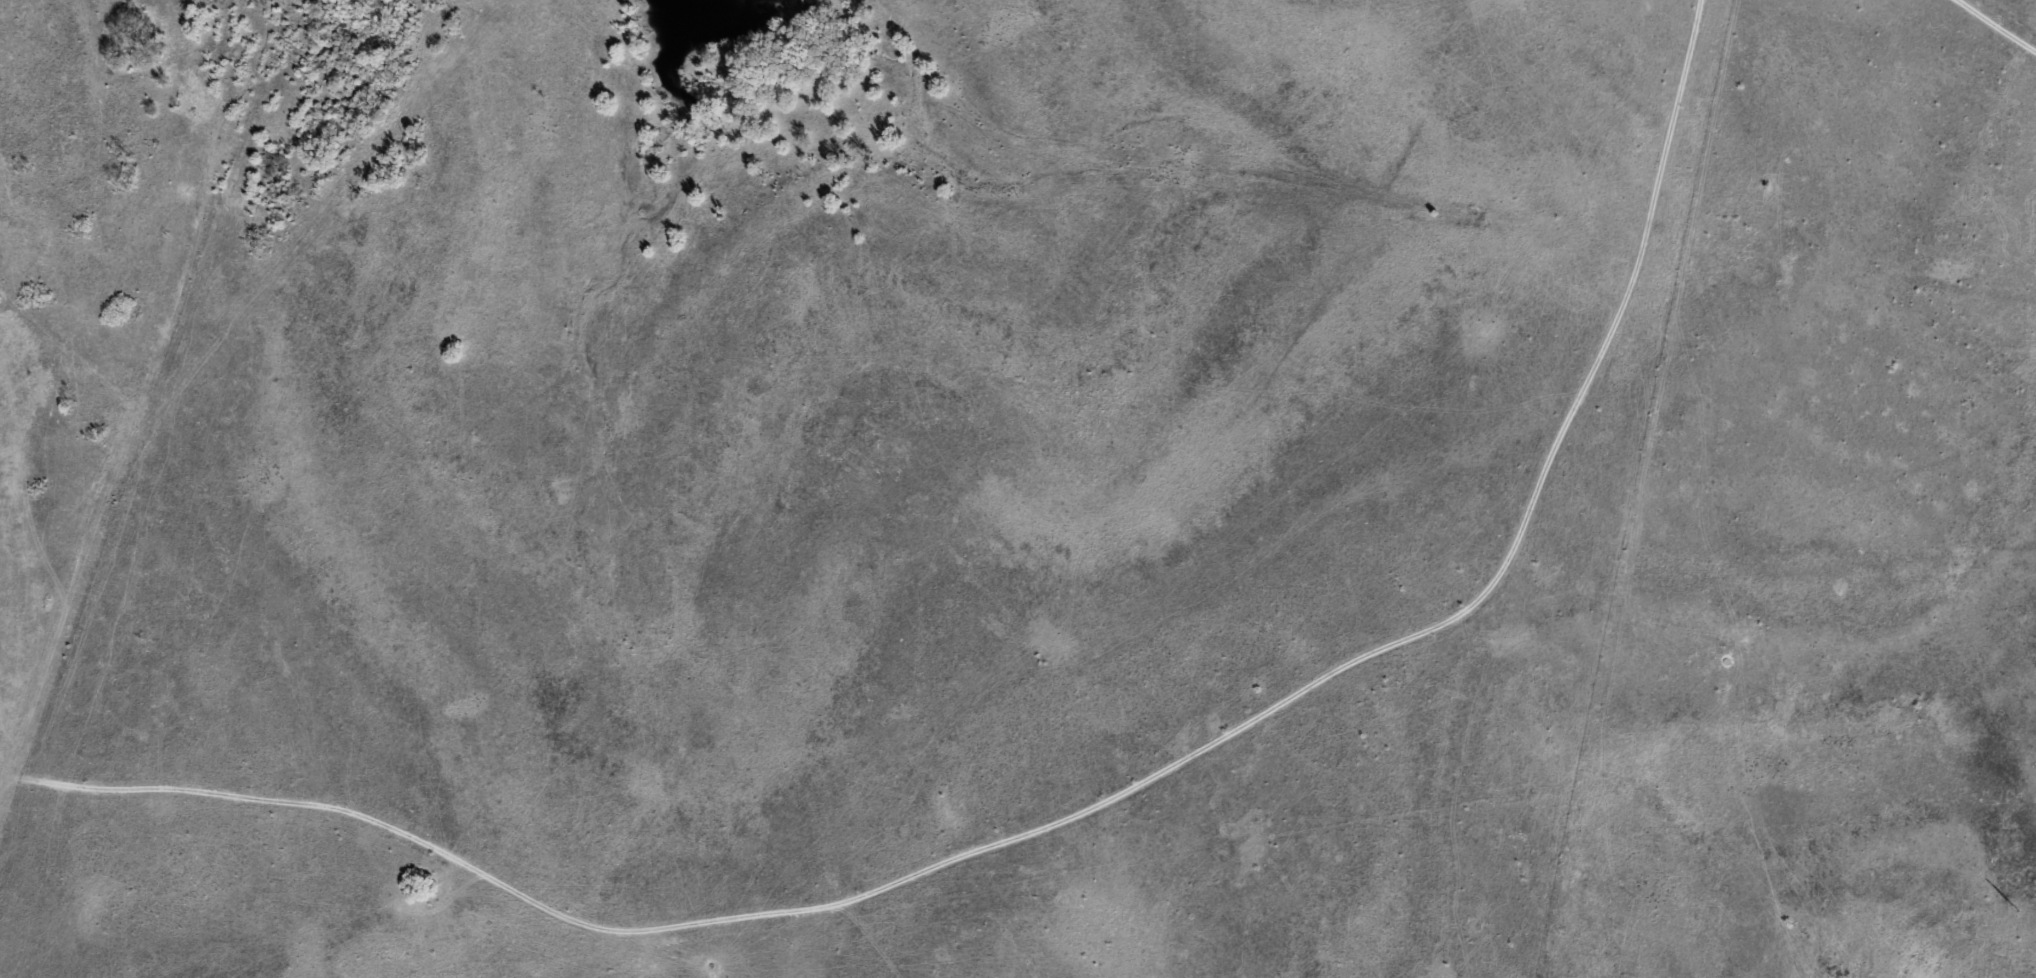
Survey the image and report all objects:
power tower: (2015, 908)

